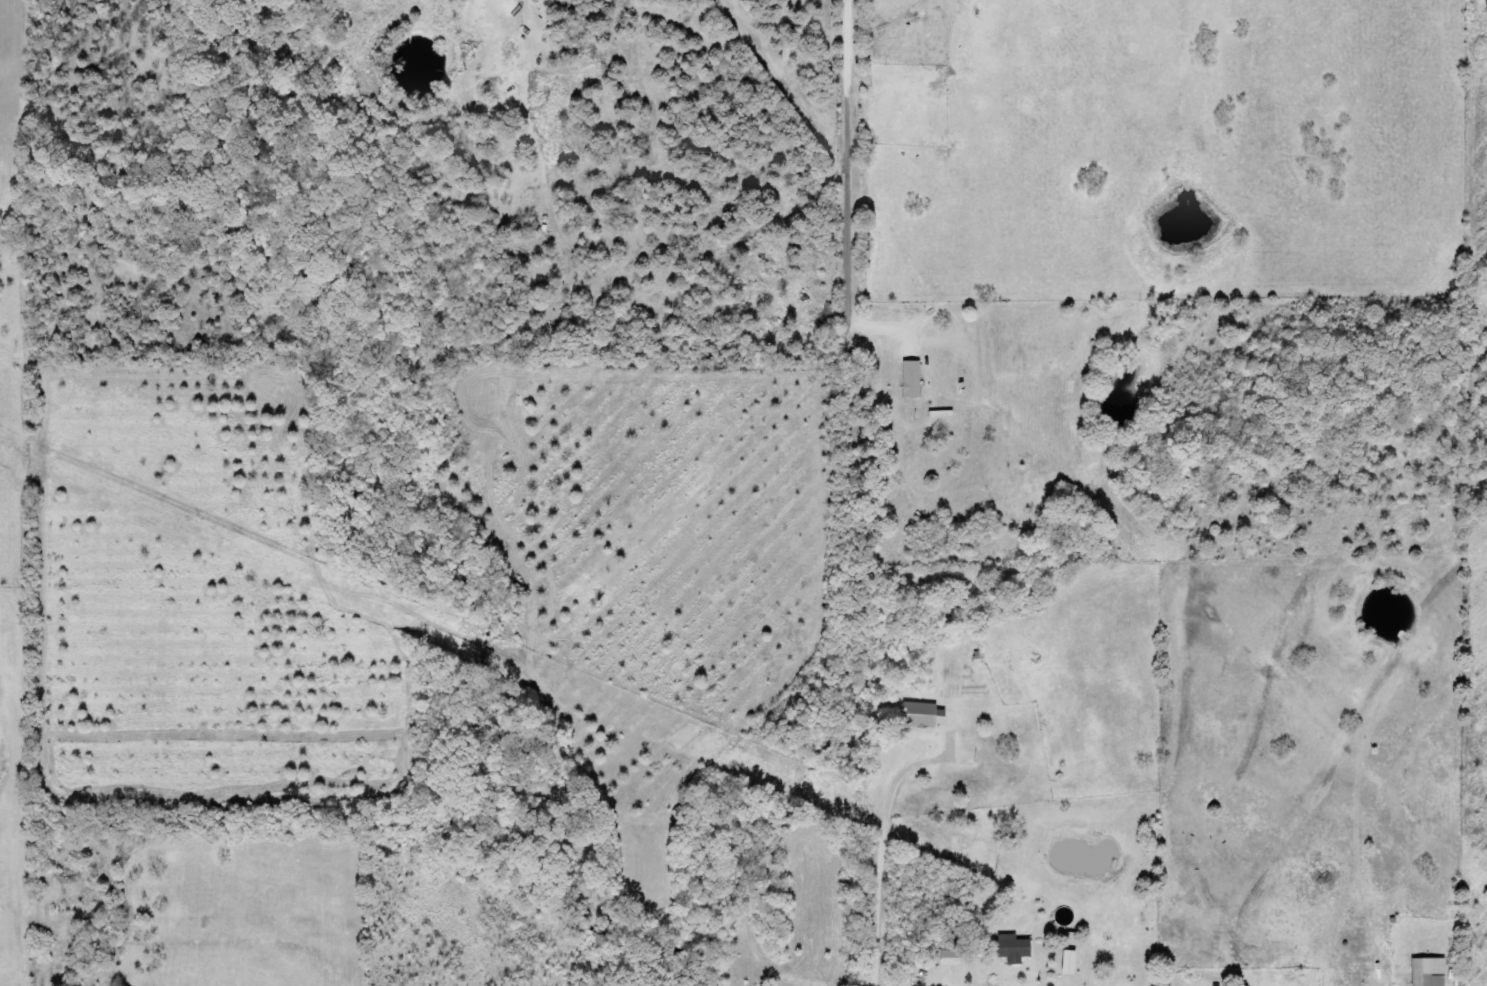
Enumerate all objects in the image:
building: (918, 381)
road: (839, 465)
building: (931, 717)
building: (1019, 950)
building: (959, 952)
building: (1429, 972)

